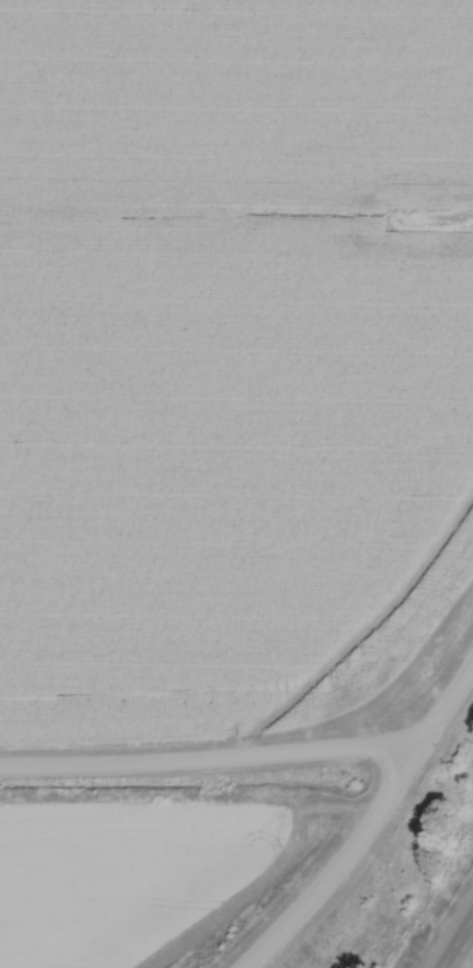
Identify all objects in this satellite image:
road: (204, 761)
road: (367, 820)
road: (461, 949)

